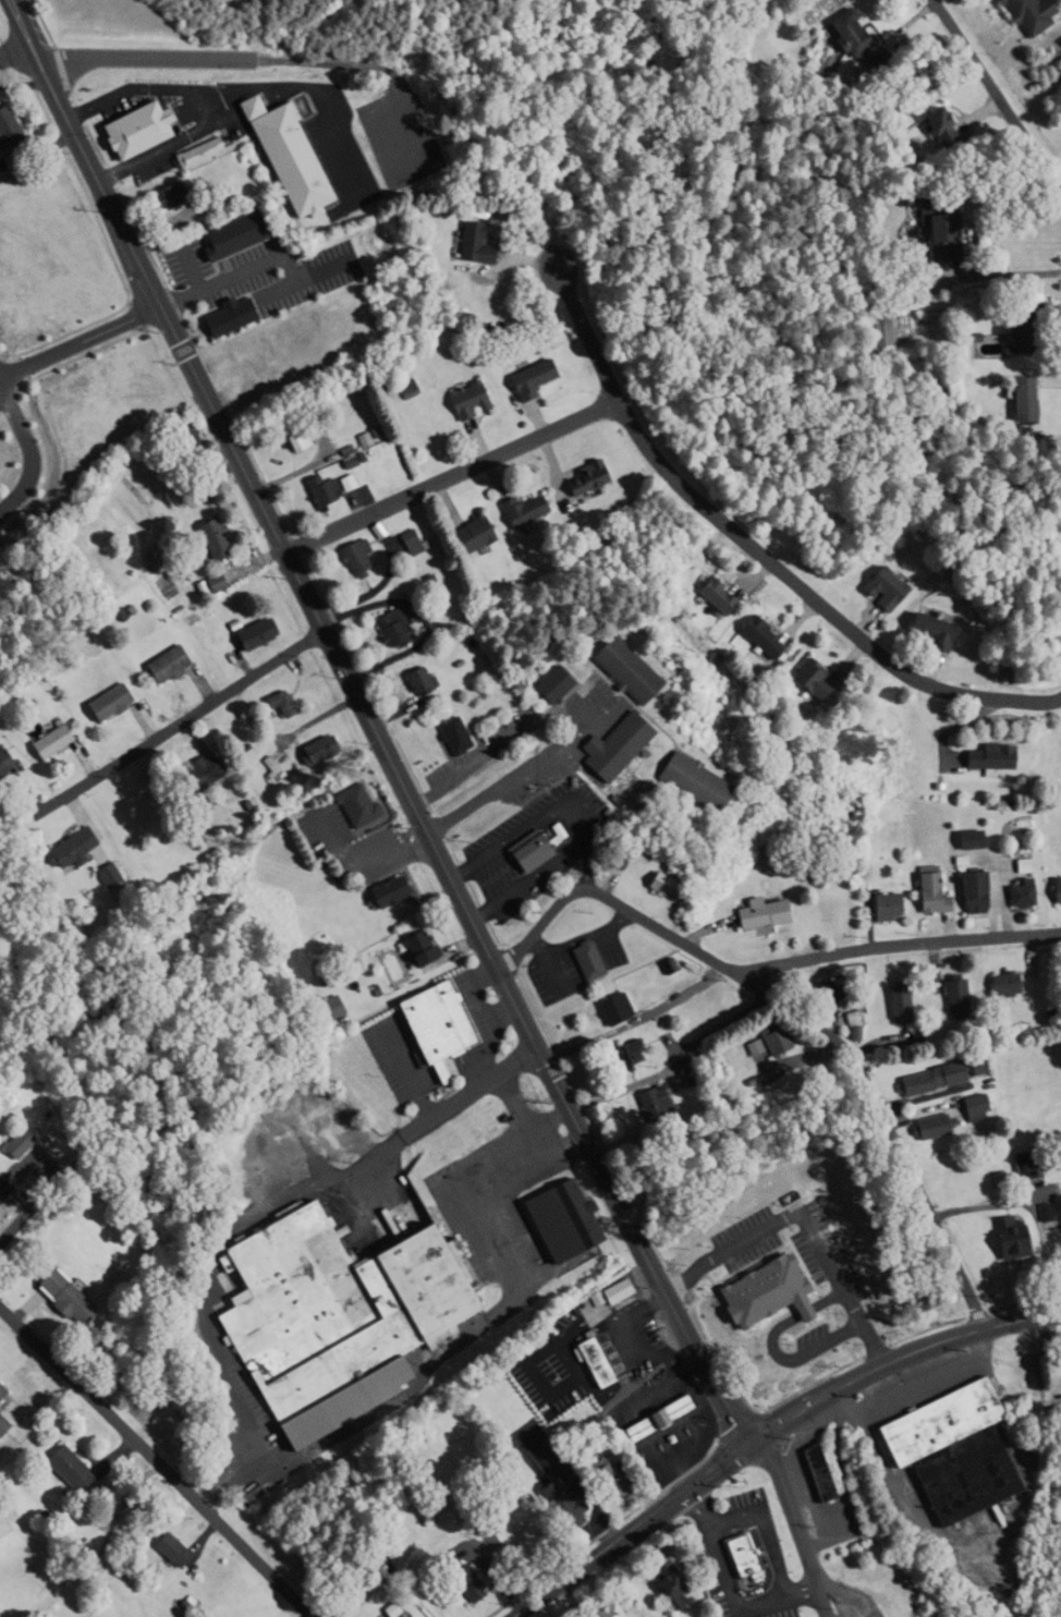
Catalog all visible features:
building: (1022, 14)
building: (843, 32)
road: (15, 49)
road: (208, 63)
road: (995, 95)
building: (929, 125)
building: (5, 129)
building: (127, 130)
building: (281, 157)
building: (164, 195)
building: (224, 234)
building: (931, 235)
building: (473, 244)
road: (81, 340)
building: (990, 343)
building: (526, 378)
building: (1016, 397)
building: (462, 400)
building: (286, 431)
road: (31, 450)
road: (452, 476)
building: (582, 477)
building: (314, 489)
building: (521, 509)
building: (465, 535)
building: (205, 538)
road: (755, 547)
building: (347, 558)
building: (206, 583)
building: (876, 589)
building: (710, 596)
building: (383, 629)
building: (922, 630)
building: (244, 634)
building: (756, 637)
building: (157, 665)
building: (618, 669)
building: (412, 681)
building: (807, 681)
building: (547, 685)
building: (100, 703)
building: (271, 703)
road: (374, 724)
road: (170, 729)
building: (447, 735)
building: (40, 742)
building: (609, 746)
building: (309, 751)
building: (983, 756)
building: (0, 762)
building: (260, 767)
road: (520, 771)
building: (190, 774)
building: (690, 781)
building: (349, 805)
road: (576, 819)
building: (63, 850)
building: (522, 853)
road: (587, 865)
building: (101, 875)
building: (656, 884)
building: (1053, 889)
building: (378, 891)
building: (925, 891)
building: (967, 892)
building: (1014, 895)
building: (880, 907)
building: (755, 912)
road: (902, 944)
building: (410, 949)
building: (582, 960)
building: (998, 983)
building: (949, 997)
building: (892, 1004)
building: (608, 1008)
building: (317, 1010)
road: (800, 1014)
building: (846, 1018)
building: (428, 1025)
building: (768, 1039)
building: (626, 1053)
building: (922, 1079)
building: (648, 1105)
road: (442, 1108)
building: (963, 1108)
road: (269, 1120)
building: (922, 1128)
building: (9, 1143)
road: (306, 1143)
building: (1015, 1166)
building: (1, 1190)
building: (1046, 1209)
road: (27, 1212)
building: (551, 1221)
road: (807, 1223)
building: (1002, 1238)
building: (608, 1291)
building: (59, 1299)
building: (327, 1317)
building: (1060, 1340)
building: (584, 1364)
building: (755, 1377)
building: (0, 1393)
building: (650, 1419)
road: (769, 1428)
building: (944, 1451)
road: (157, 1461)
building: (56, 1469)
building: (819, 1473)
building: (599, 1480)
building: (553, 1505)
road: (796, 1524)
building: (510, 1545)
building: (163, 1551)
building: (739, 1557)
building: (459, 1584)
building: (663, 1586)
building: (598, 1609)

